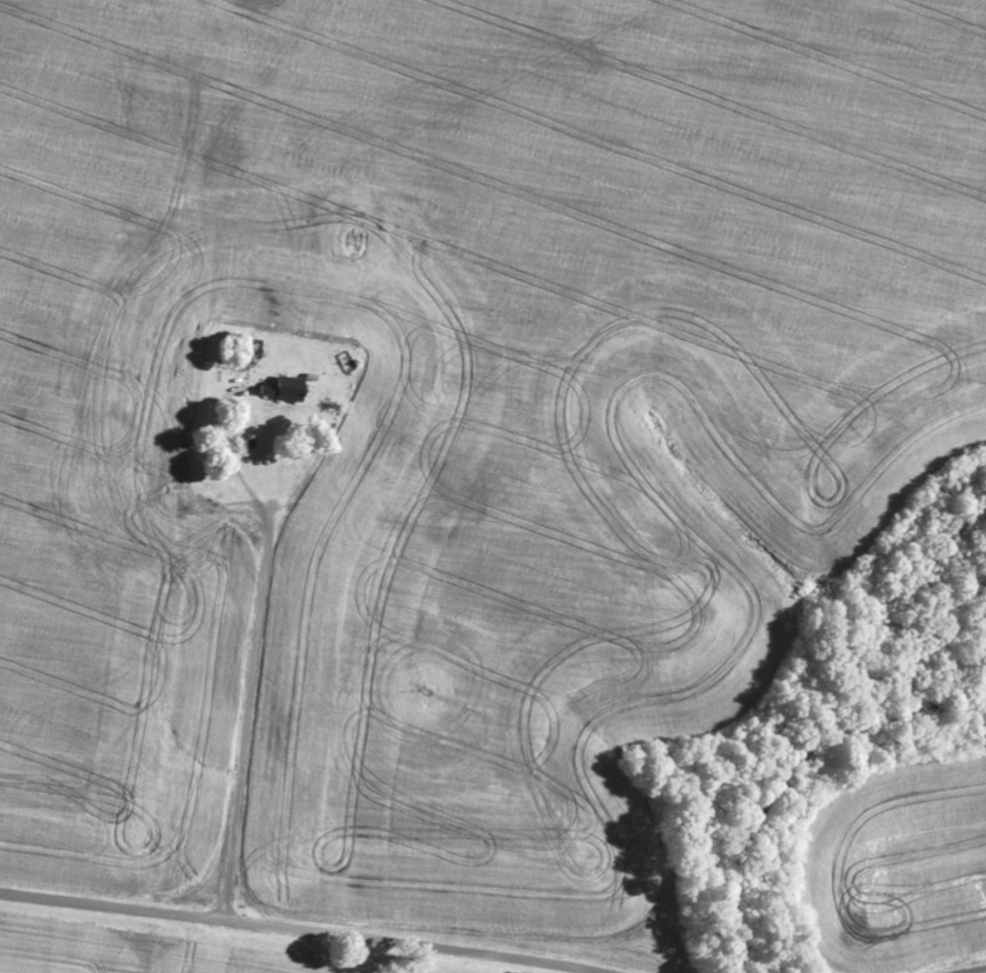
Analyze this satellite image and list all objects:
road: (291, 932)

